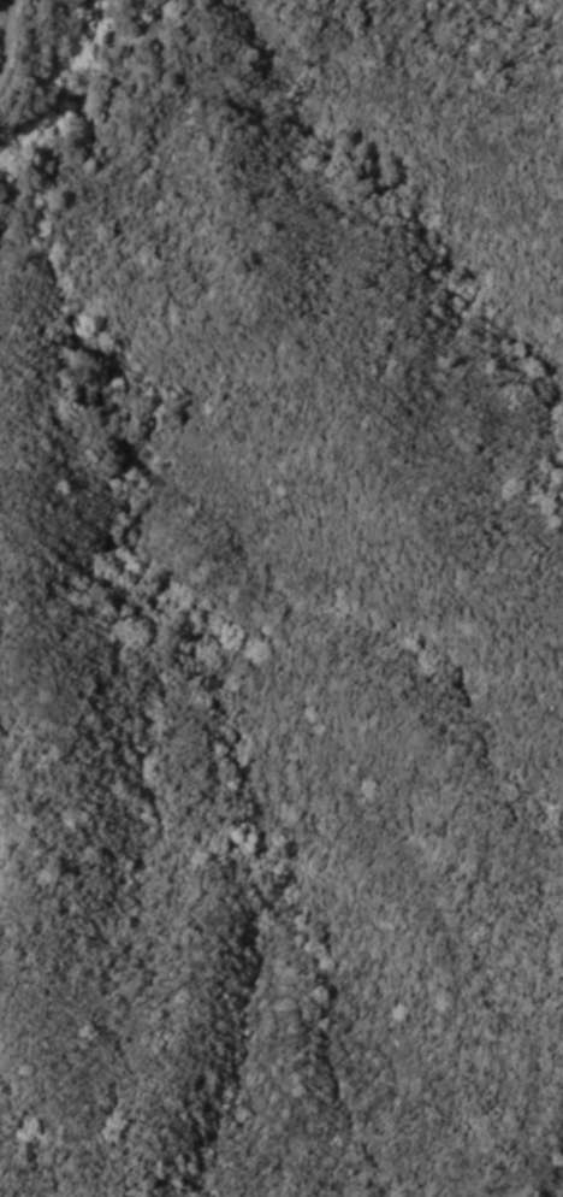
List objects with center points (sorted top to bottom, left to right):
road: (8, 39)
road: (198, 83)

